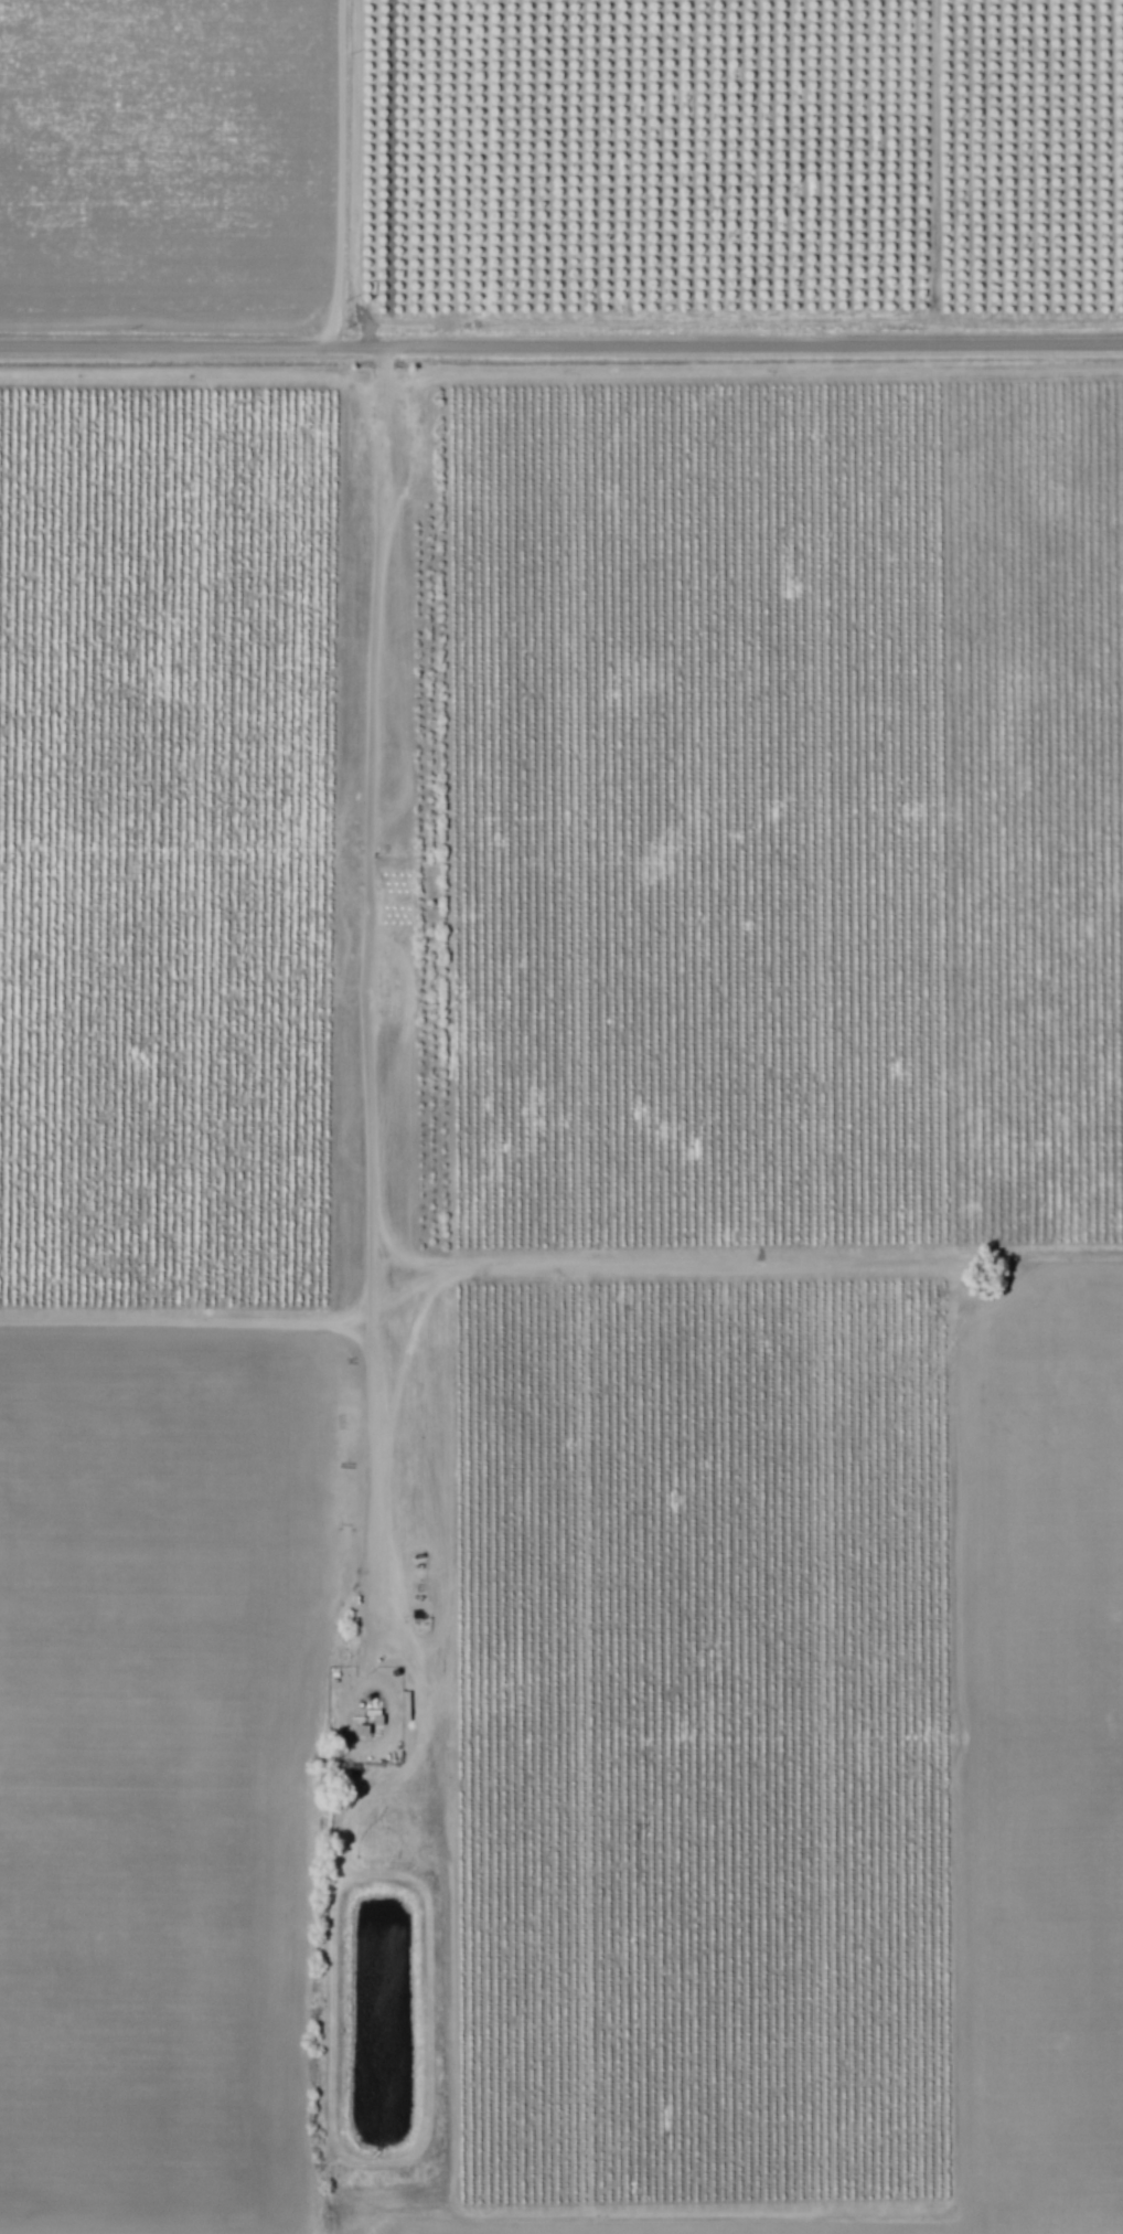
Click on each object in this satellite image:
road: (560, 339)
road: (370, 1108)
road: (185, 1316)

